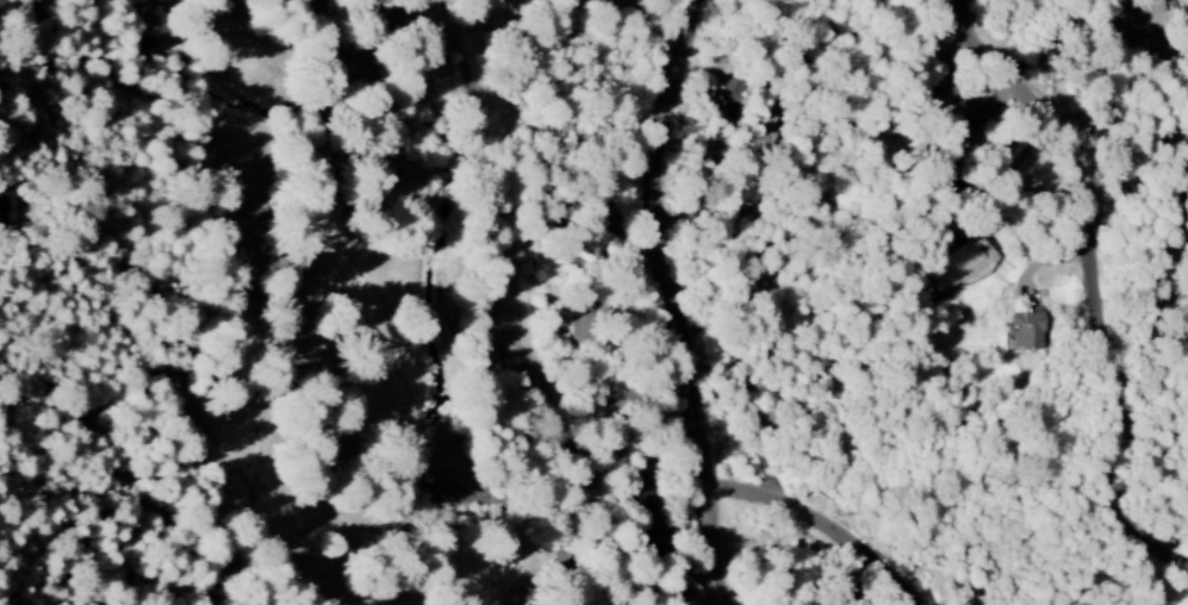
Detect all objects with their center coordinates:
building: (1124, 33)
building: (732, 87)
building: (941, 100)
building: (5, 210)
road: (505, 252)
road: (1101, 275)
road: (678, 300)
park: (317, 302)
building: (577, 320)
building: (1024, 330)
road: (827, 524)

